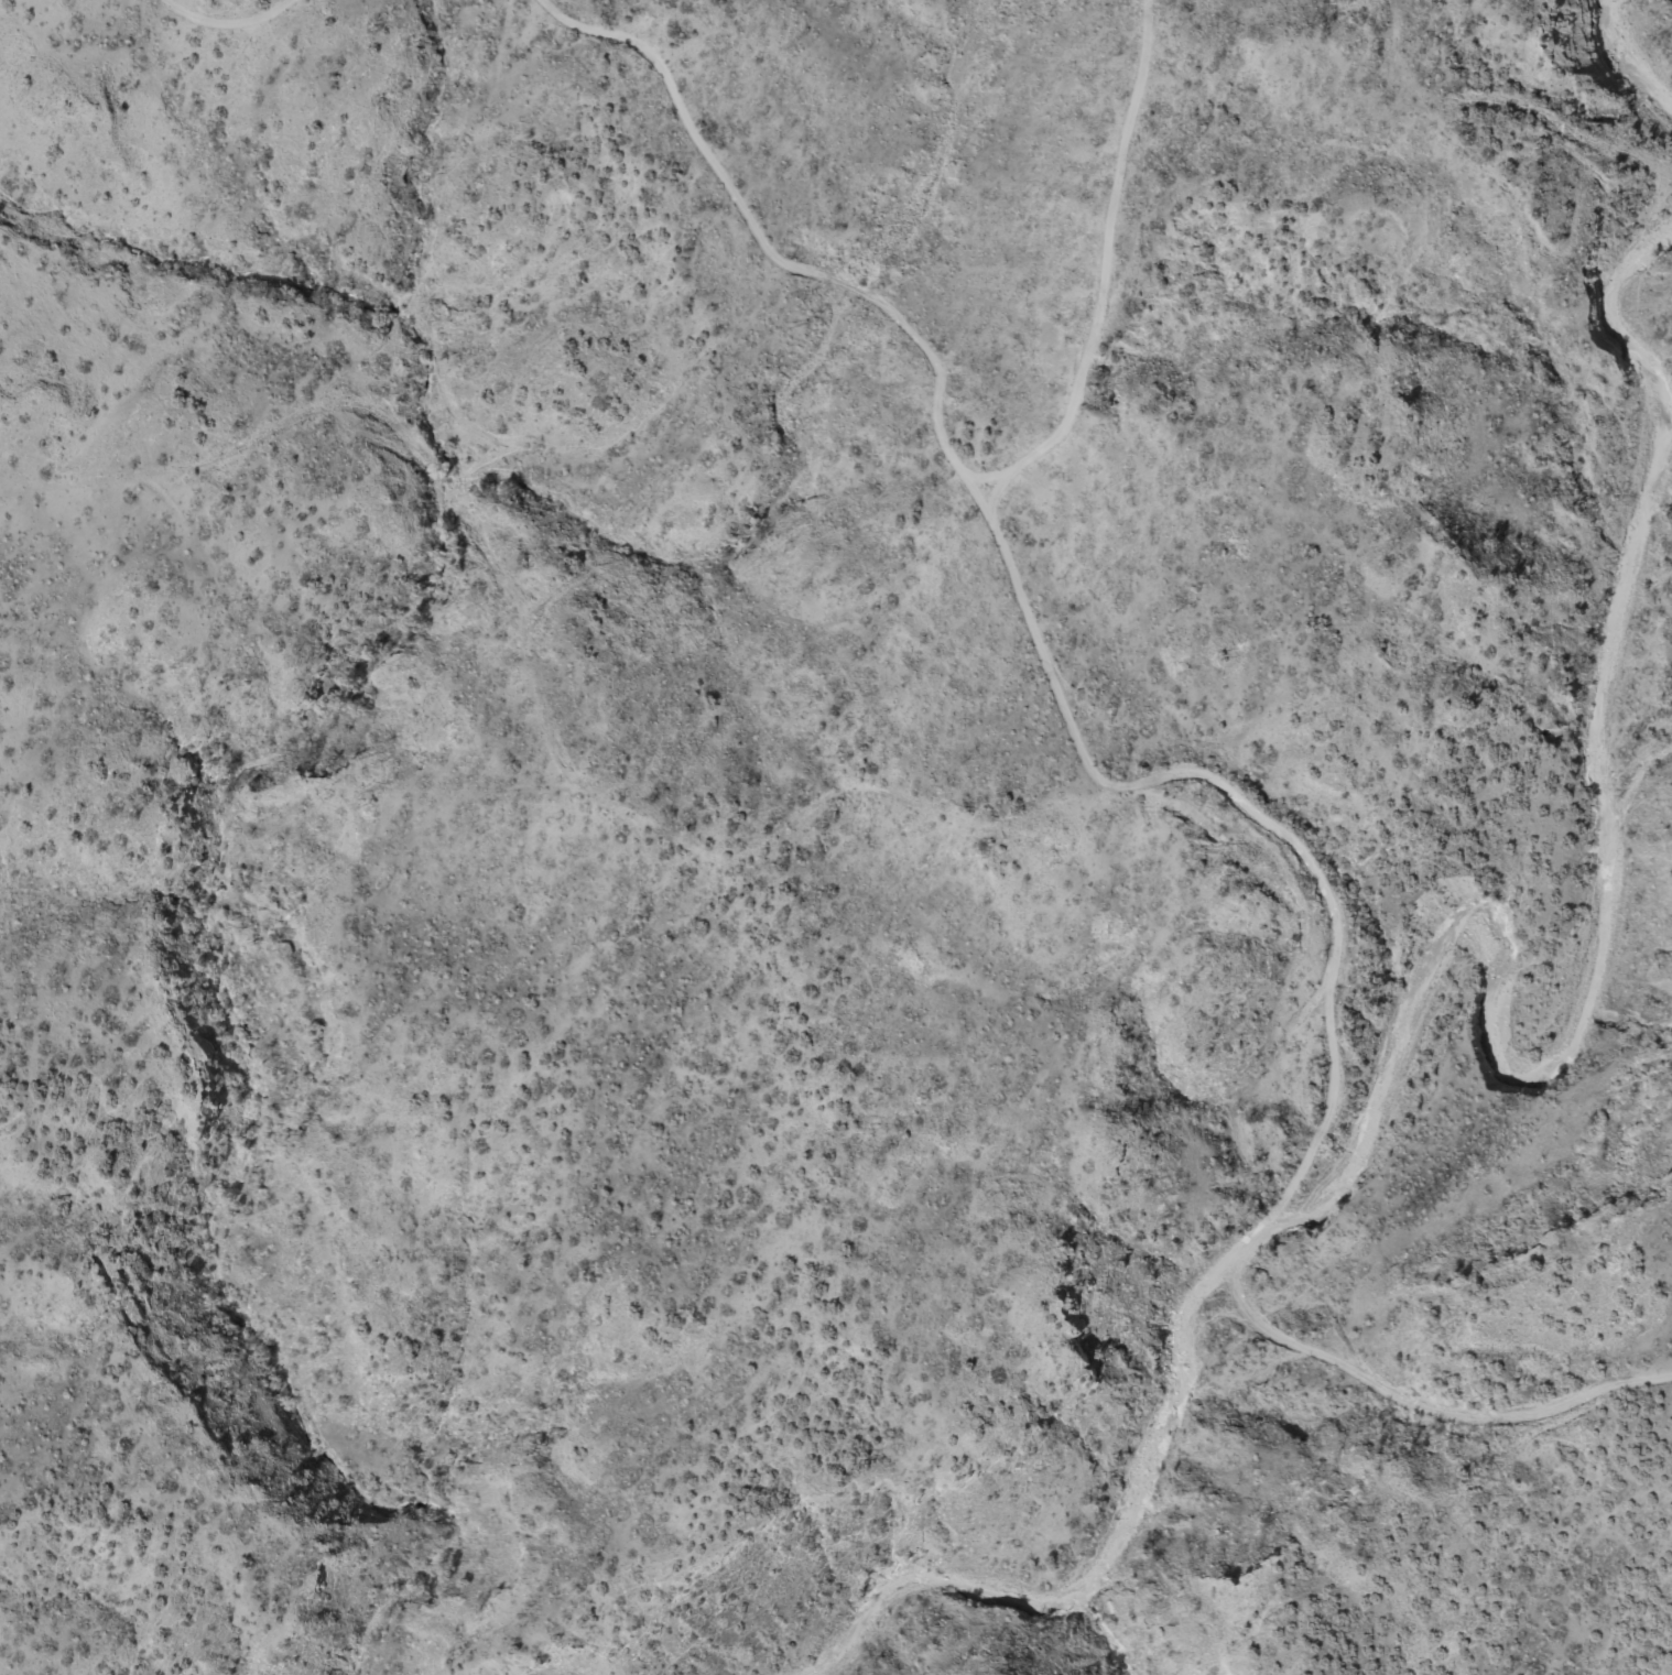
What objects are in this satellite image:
road: (1402, 252)

